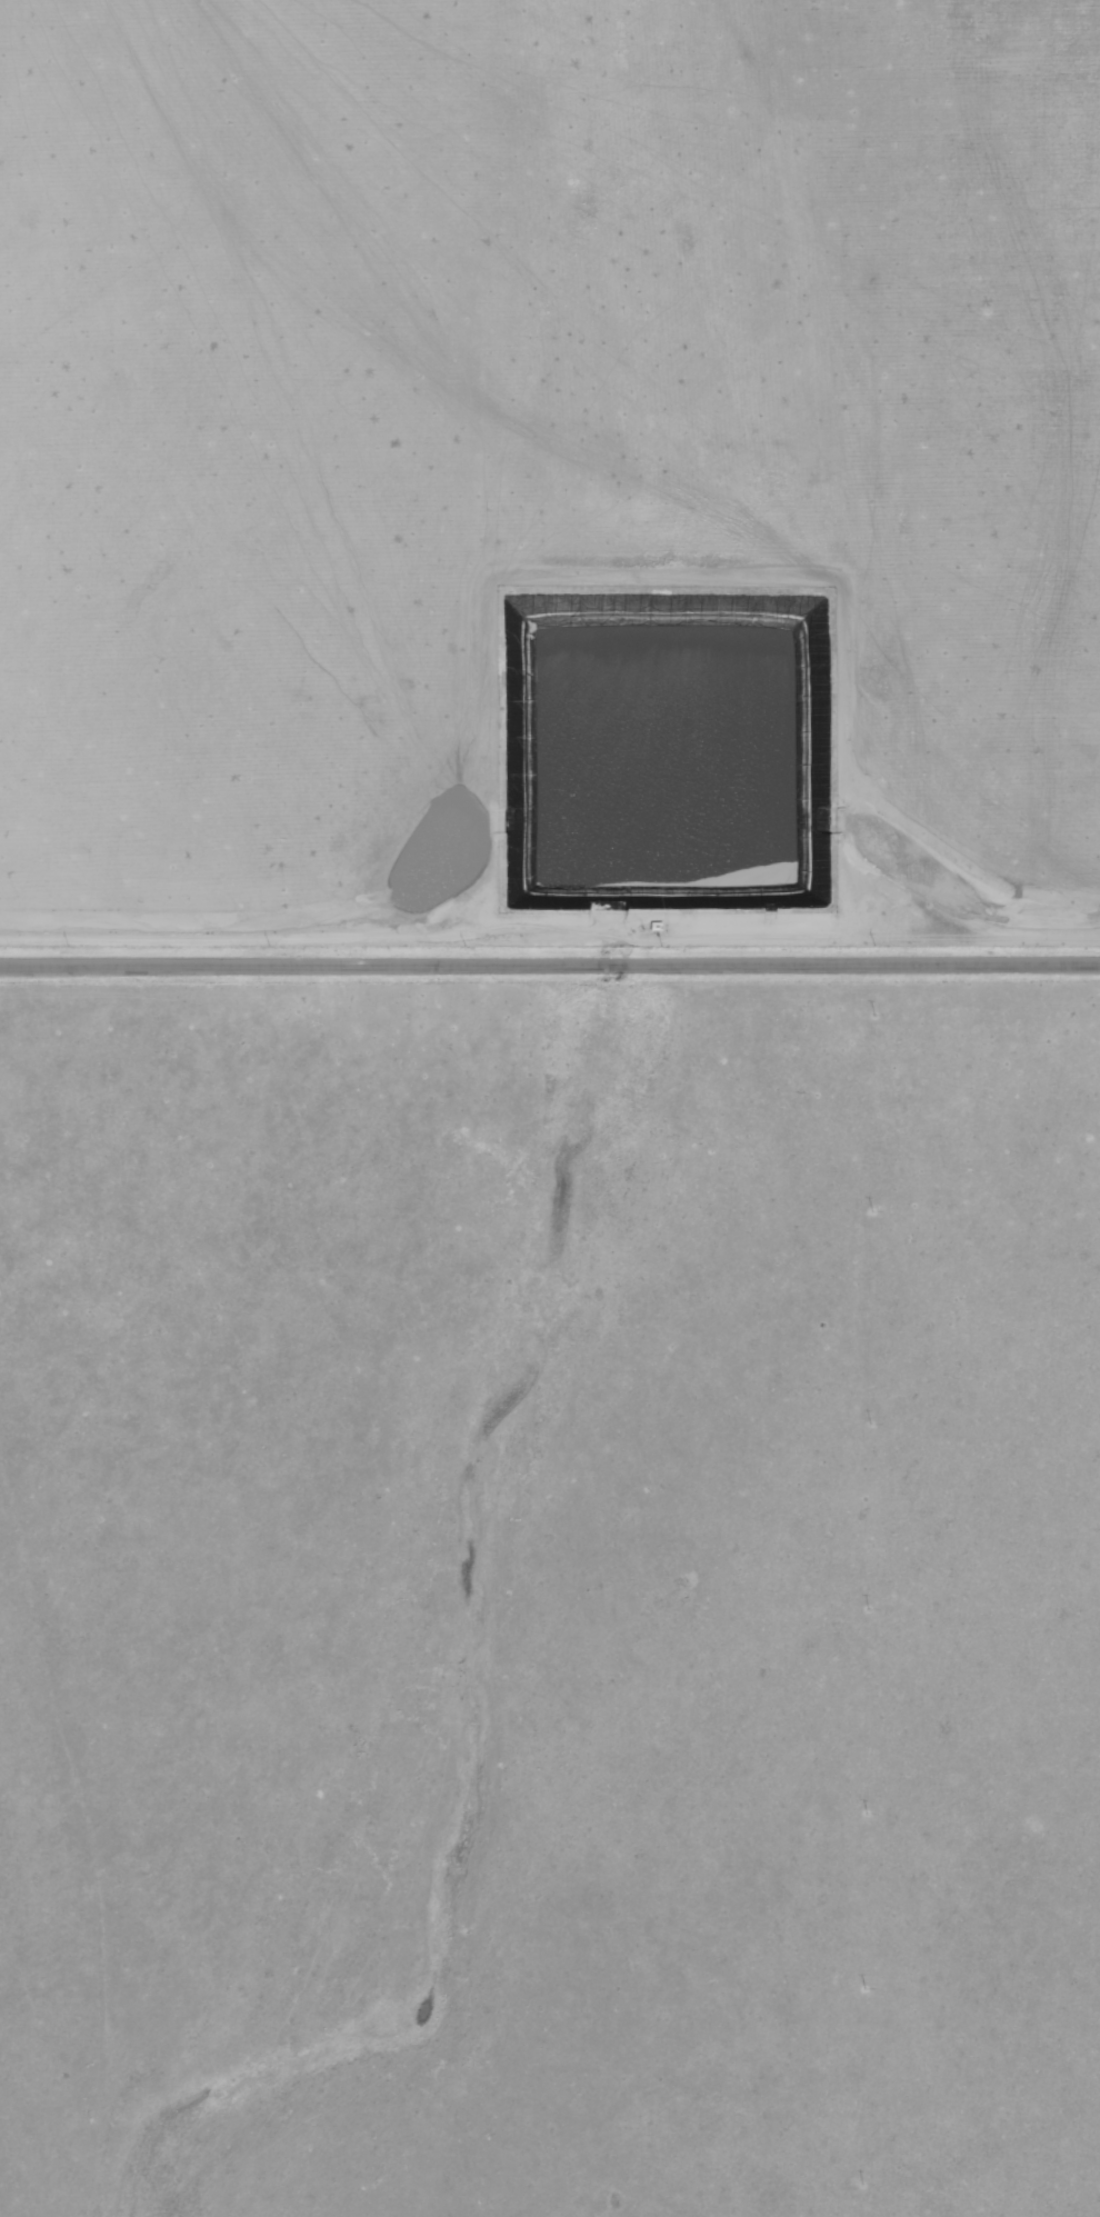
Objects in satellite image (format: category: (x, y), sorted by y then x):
road: (550, 962)

